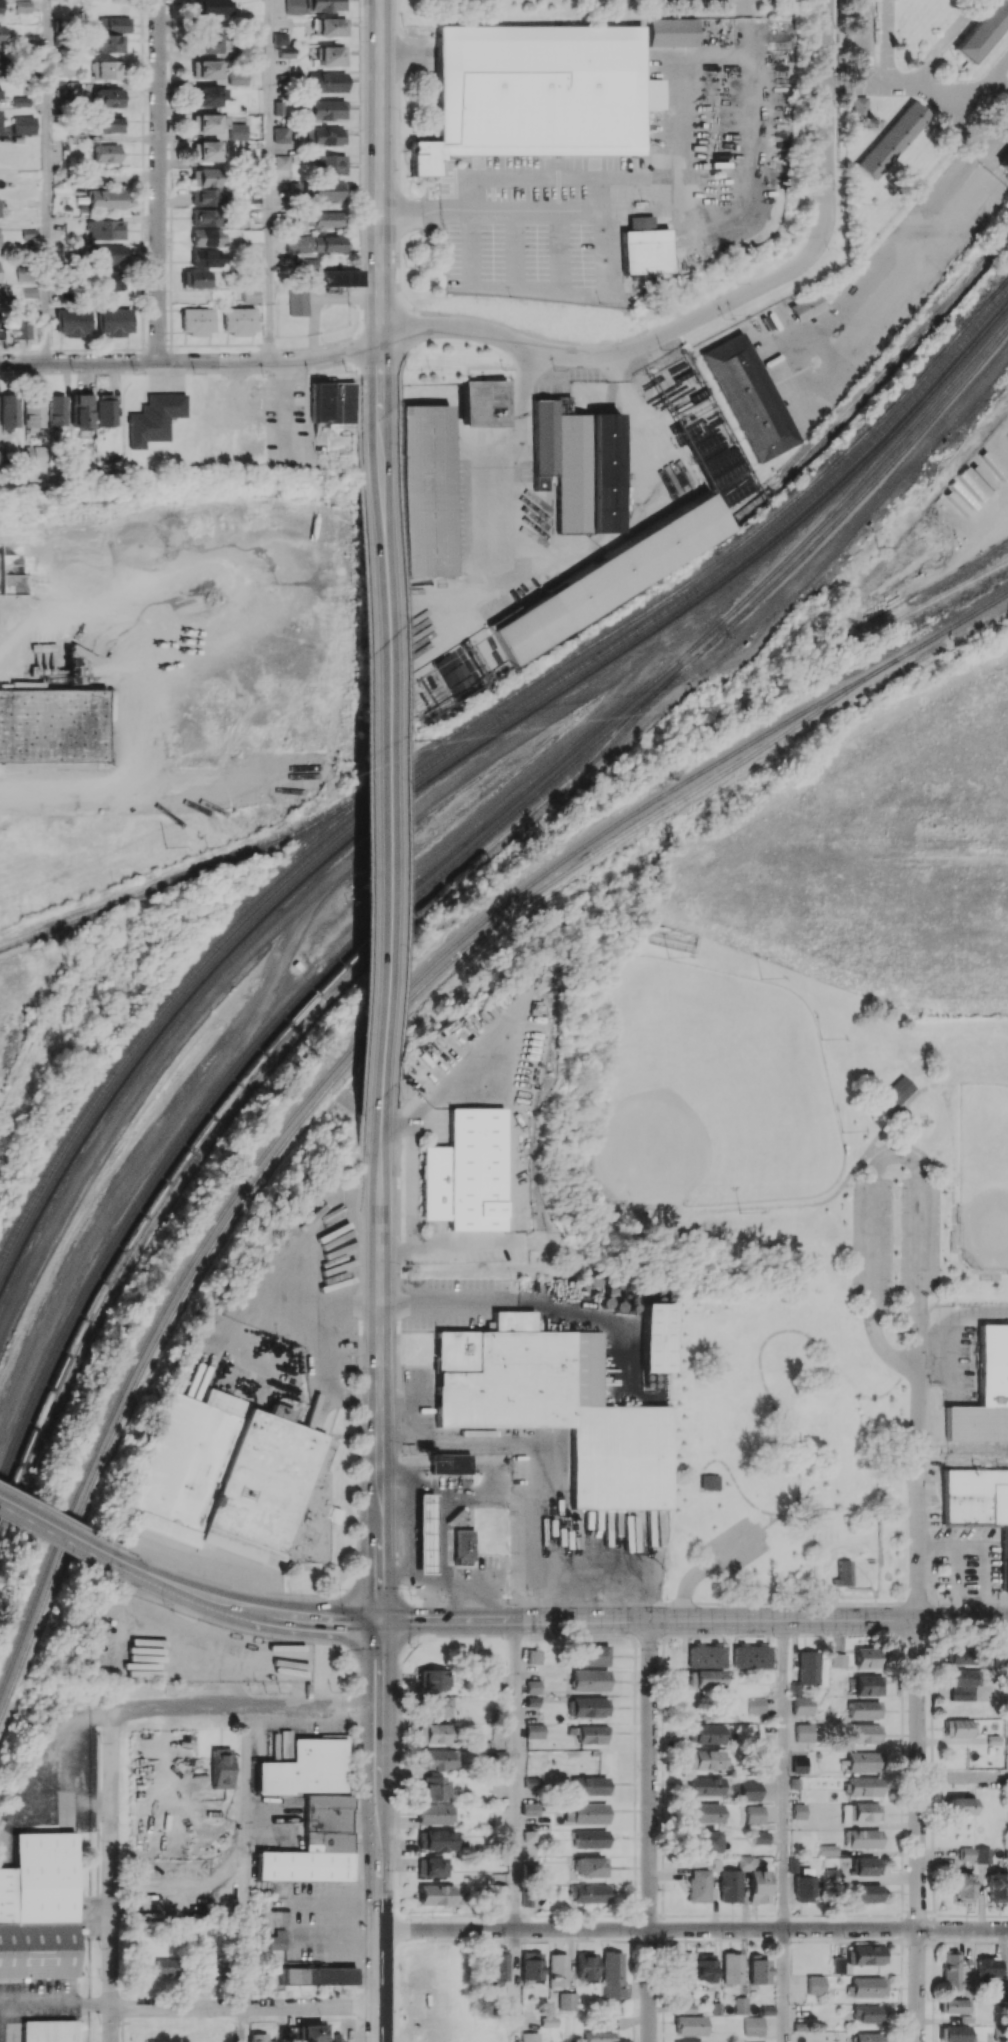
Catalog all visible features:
building: (326, 5)
building: (293, 6)
building: (211, 7)
park: (515, 10)
building: (114, 24)
building: (329, 26)
building: (983, 31)
building: (671, 32)
building: (1, 34)
building: (279, 38)
building: (207, 43)
road: (943, 43)
building: (106, 44)
building: (286, 51)
building: (330, 55)
building: (1, 62)
building: (64, 67)
building: (107, 69)
building: (204, 69)
road: (885, 72)
building: (235, 78)
building: (326, 82)
road: (982, 86)
building: (538, 91)
building: (62, 93)
building: (0, 94)
building: (206, 96)
building: (108, 97)
building: (278, 107)
building: (326, 109)
building: (859, 109)
road: (954, 111)
road: (826, 119)
building: (208, 123)
building: (109, 124)
building: (23, 125)
building: (236, 131)
building: (280, 134)
building: (325, 135)
building: (890, 140)
building: (204, 151)
building: (105, 153)
building: (282, 161)
building: (328, 164)
building: (1004, 165)
building: (204, 177)
road: (159, 180)
road: (270, 180)
road: (382, 180)
road: (46, 181)
building: (322, 191)
building: (204, 197)
building: (106, 199)
road: (491, 207)
building: (204, 217)
building: (328, 218)
building: (306, 219)
building: (105, 229)
building: (205, 237)
building: (314, 243)
building: (644, 247)
building: (107, 253)
building: (206, 257)
building: (25, 272)
building: (333, 277)
building: (195, 278)
building: (110, 280)
railway: (999, 289)
building: (2, 295)
building: (248, 295)
building: (298, 302)
building: (806, 306)
building: (197, 320)
building: (238, 320)
building: (73, 321)
building: (114, 321)
building: (19, 325)
road: (192, 360)
road: (618, 361)
railway: (873, 381)
building: (749, 398)
road: (284, 401)
building: (483, 403)
building: (104, 409)
building: (9, 410)
building: (81, 410)
building: (56, 411)
building: (33, 412)
building: (153, 418)
building: (579, 466)
building: (428, 490)
road: (849, 526)
railway: (825, 535)
road: (547, 562)
building: (611, 579)
railway: (952, 588)
railway: (950, 625)
building: (857, 697)
railway: (467, 723)
building: (53, 725)
road: (381, 733)
railway: (464, 745)
railway: (461, 756)
road: (74, 781)
railway: (315, 828)
railway: (258, 847)
railway: (444, 861)
railway: (194, 874)
railway: (290, 1040)
railway: (246, 1073)
road: (973, 1076)
railway: (327, 1078)
park: (709, 1090)
railway: (326, 1091)
building: (894, 1091)
road: (899, 1109)
road: (951, 1130)
road: (916, 1149)
building: (467, 1172)
park: (983, 1175)
road: (412, 1183)
road: (953, 1201)
road: (774, 1207)
road: (874, 1209)
park: (776, 1212)
road: (921, 1234)
parking lot: (897, 1241)
road: (942, 1294)
road: (464, 1300)
road: (921, 1330)
building: (655, 1337)
road: (764, 1341)
road: (913, 1342)
road: (319, 1348)
road: (884, 1350)
building: (984, 1392)
building: (555, 1406)
road: (964, 1462)
building: (450, 1463)
building: (235, 1478)
building: (710, 1481)
road: (736, 1484)
road: (920, 1493)
building: (978, 1502)
road: (56, 1514)
road: (766, 1523)
road: (55, 1528)
road: (442, 1528)
building: (424, 1533)
parking lot: (736, 1544)
building: (463, 1546)
road: (736, 1546)
road: (984, 1557)
road: (599, 1567)
road: (956, 1572)
road: (379, 1573)
road: (411, 1573)
building: (844, 1573)
road: (688, 1582)
road: (257, 1588)
road: (239, 1609)
road: (693, 1620)
traffic signals: (379, 1621)
building: (591, 1655)
building: (961, 1655)
building: (533, 1656)
building: (706, 1656)
building: (750, 1656)
building: (868, 1657)
building: (838, 1660)
building: (808, 1667)
building: (431, 1679)
building: (708, 1679)
building: (589, 1680)
building: (963, 1683)
building: (868, 1685)
building: (533, 1686)
building: (795, 1689)
building: (756, 1705)
building: (801, 1705)
building: (435, 1706)
building: (587, 1706)
road: (245, 1709)
building: (864, 1709)
building: (500, 1724)
building: (959, 1727)
building: (534, 1731)
building: (803, 1732)
building: (432, 1733)
building: (866, 1733)
building: (591, 1734)
building: (707, 1734)
building: (436, 1759)
building: (706, 1759)
building: (864, 1761)
building: (799, 1765)
building: (221, 1768)
building: (305, 1768)
road: (515, 1774)
road: (650, 1774)
road: (783, 1774)
road: (963, 1777)
building: (589, 1785)
building: (704, 1786)
building: (864, 1786)
building: (434, 1788)
building: (750, 1791)
building: (961, 1806)
building: (530, 1808)
building: (798, 1811)
building: (703, 1812)
building: (861, 1812)
building: (585, 1813)
building: (755, 1813)
building: (435, 1814)
road: (918, 1830)
building: (530, 1836)
building: (760, 1837)
building: (589, 1838)
building: (863, 1838)
building: (435, 1840)
building: (706, 1841)
building: (315, 1844)
building: (828, 1850)
building: (967, 1853)
building: (983, 1855)
road: (243, 1859)
building: (430, 1866)
building: (590, 1866)
building: (867, 1866)
building: (532, 1870)
building: (831, 1874)
road: (113, 1877)
building: (755, 1880)
building: (698, 1885)
building: (803, 1885)
building: (729, 1886)
building: (964, 1887)
building: (997, 1887)
building: (499, 1891)
building: (588, 1893)
building: (864, 1893)
building: (434, 1894)
building: (39, 1907)
road: (963, 1928)
road: (648, 1929)
building: (276, 1940)
building: (868, 1954)
building: (838, 1964)
building: (499, 1965)
building: (531, 1965)
building: (585, 1965)
building: (167, 1966)
building: (216, 1966)
building: (705, 1967)
building: (988, 1967)
building: (731, 1968)
building: (682, 1969)
building: (951, 1969)
building: (557, 1970)
building: (759, 1971)
building: (611, 1974)
building: (316, 1975)
building: (815, 1984)
road: (514, 1985)
road: (650, 1985)
road: (783, 1985)
building: (867, 1987)
building: (567, 2000)
road: (39, 2001)
building: (741, 2005)
building: (954, 2005)
road: (246, 2009)
building: (867, 2013)
road: (243, 2025)
building: (689, 2025)
building: (753, 2025)
building: (50, 2031)
building: (286, 2033)
building: (311, 2033)
building: (954, 2033)
building: (600, 2036)
building: (257, 2037)
building: (529, 2037)
building: (868, 2037)
building: (689, 2041)
building: (757, 2041)

